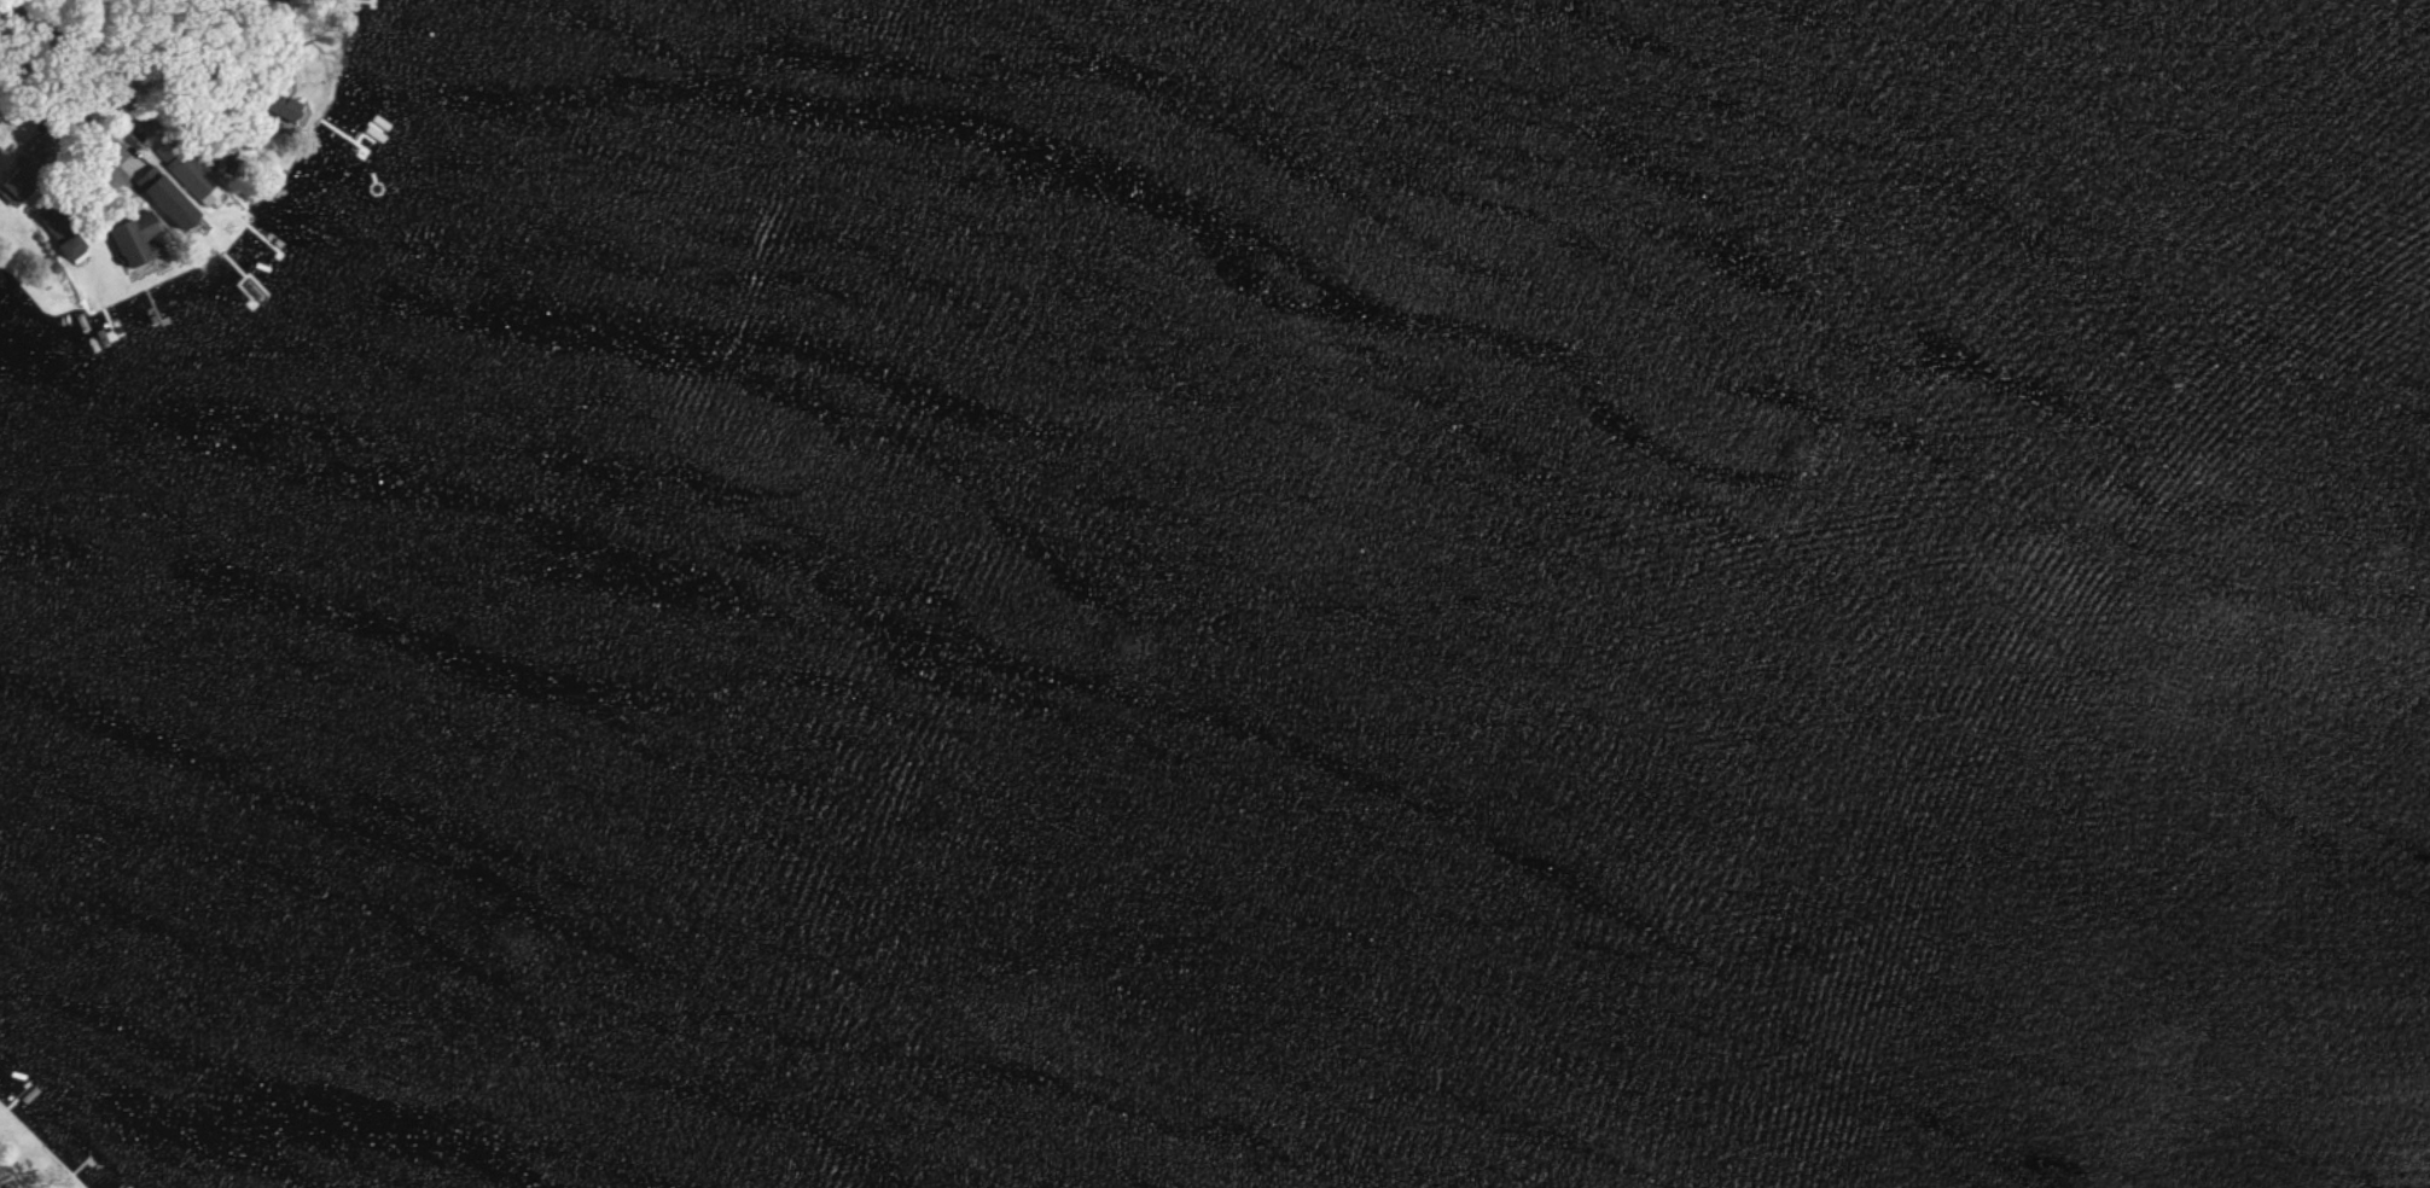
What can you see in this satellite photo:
road: (17, 21)
road: (68, 91)
building: (280, 105)
building: (185, 170)
building: (70, 245)

